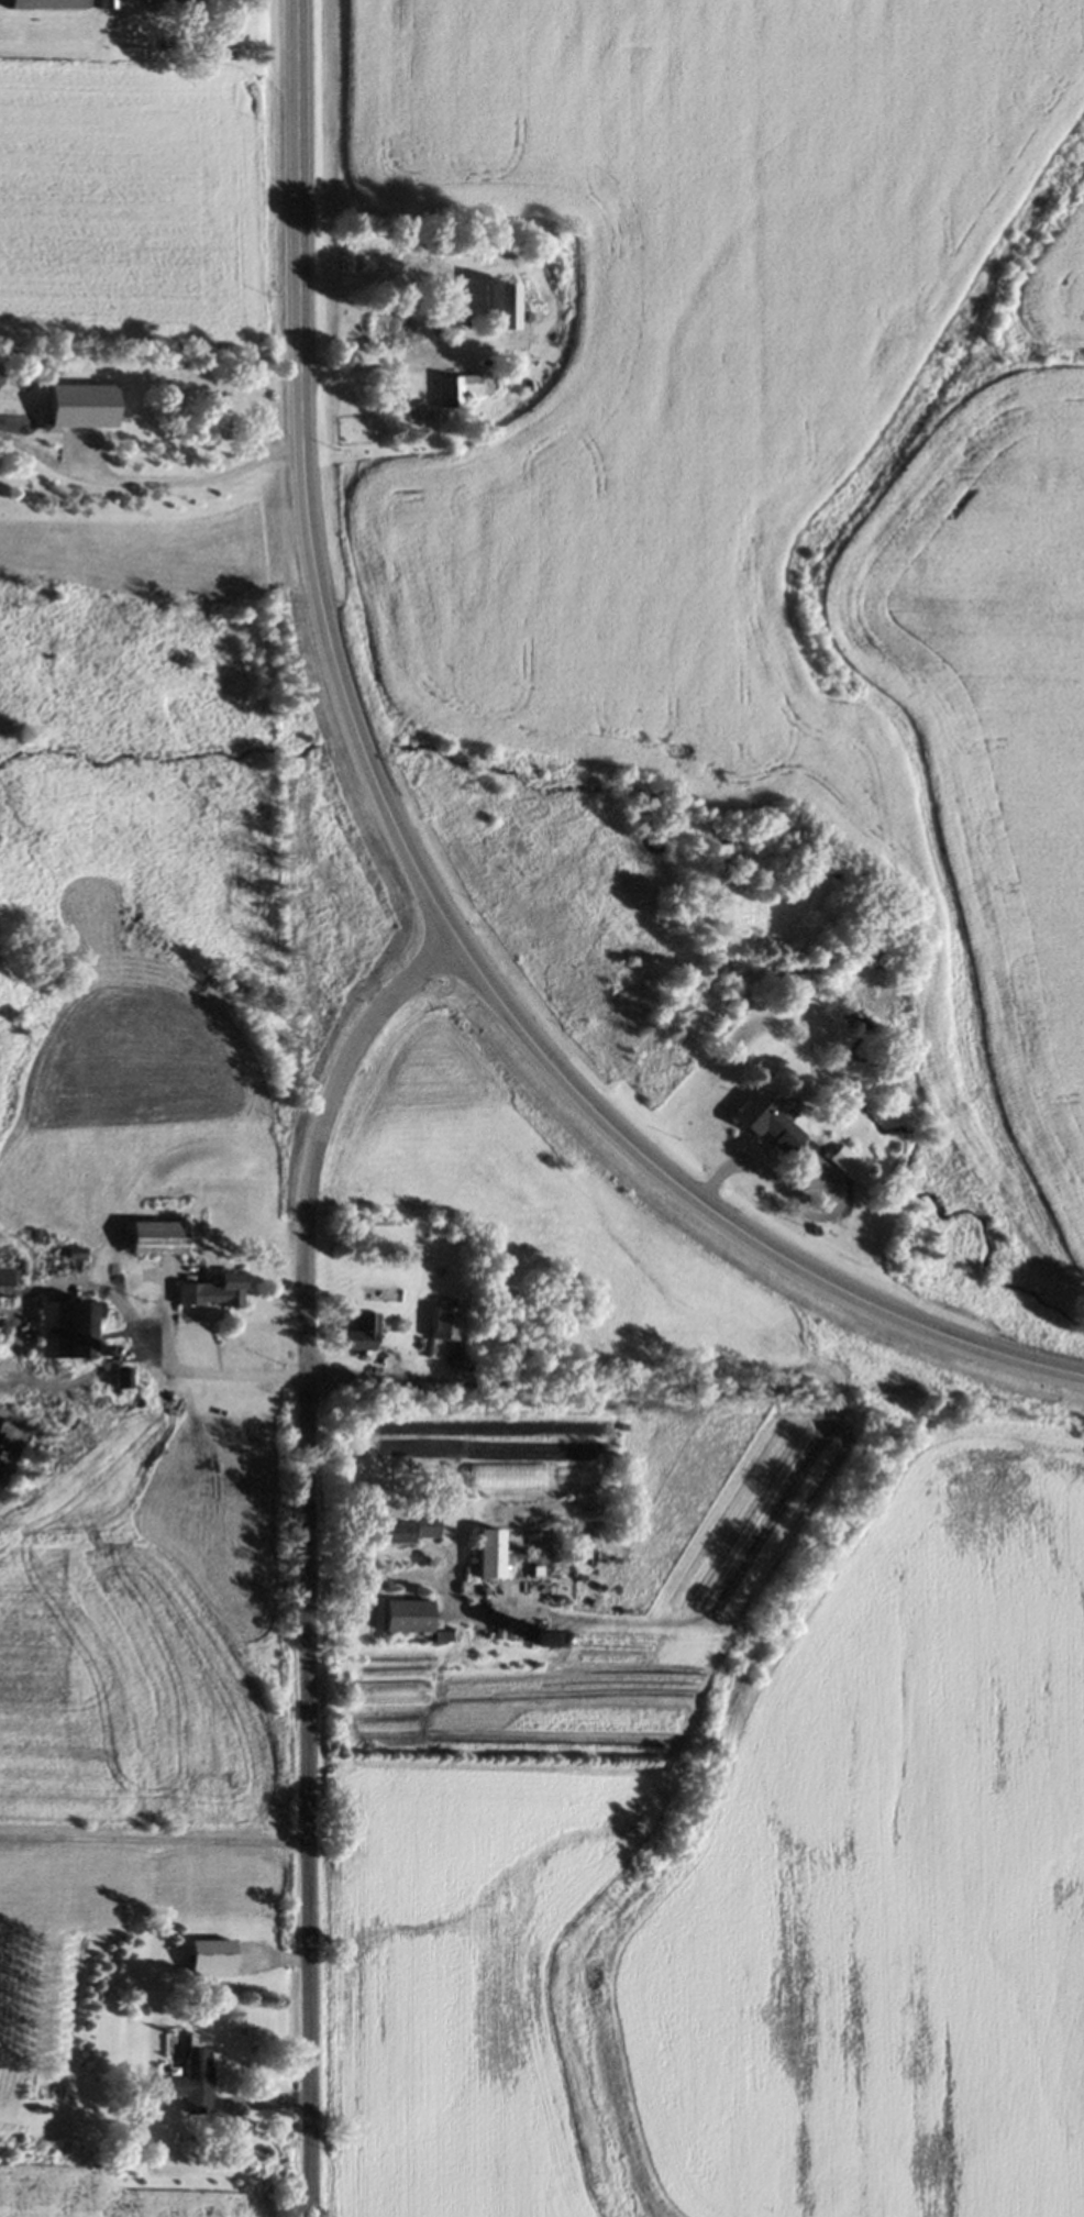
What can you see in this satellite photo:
building: (170, 2)
building: (44, 5)
building: (103, 5)
building: (497, 309)
building: (391, 331)
road: (363, 368)
building: (482, 385)
road: (405, 863)
building: (765, 1126)
road: (742, 1160)
building: (843, 1165)
building: (154, 1239)
building: (4, 1281)
building: (210, 1294)
road: (123, 1317)
building: (443, 1327)
building: (64, 1332)
building: (358, 1334)
road: (185, 1371)
road: (561, 1385)
building: (507, 1478)
building: (406, 1533)
road: (307, 1556)
building: (487, 1556)
road: (441, 1579)
building: (406, 1619)
building: (515, 1635)
building: (208, 1960)
building: (190, 2083)

